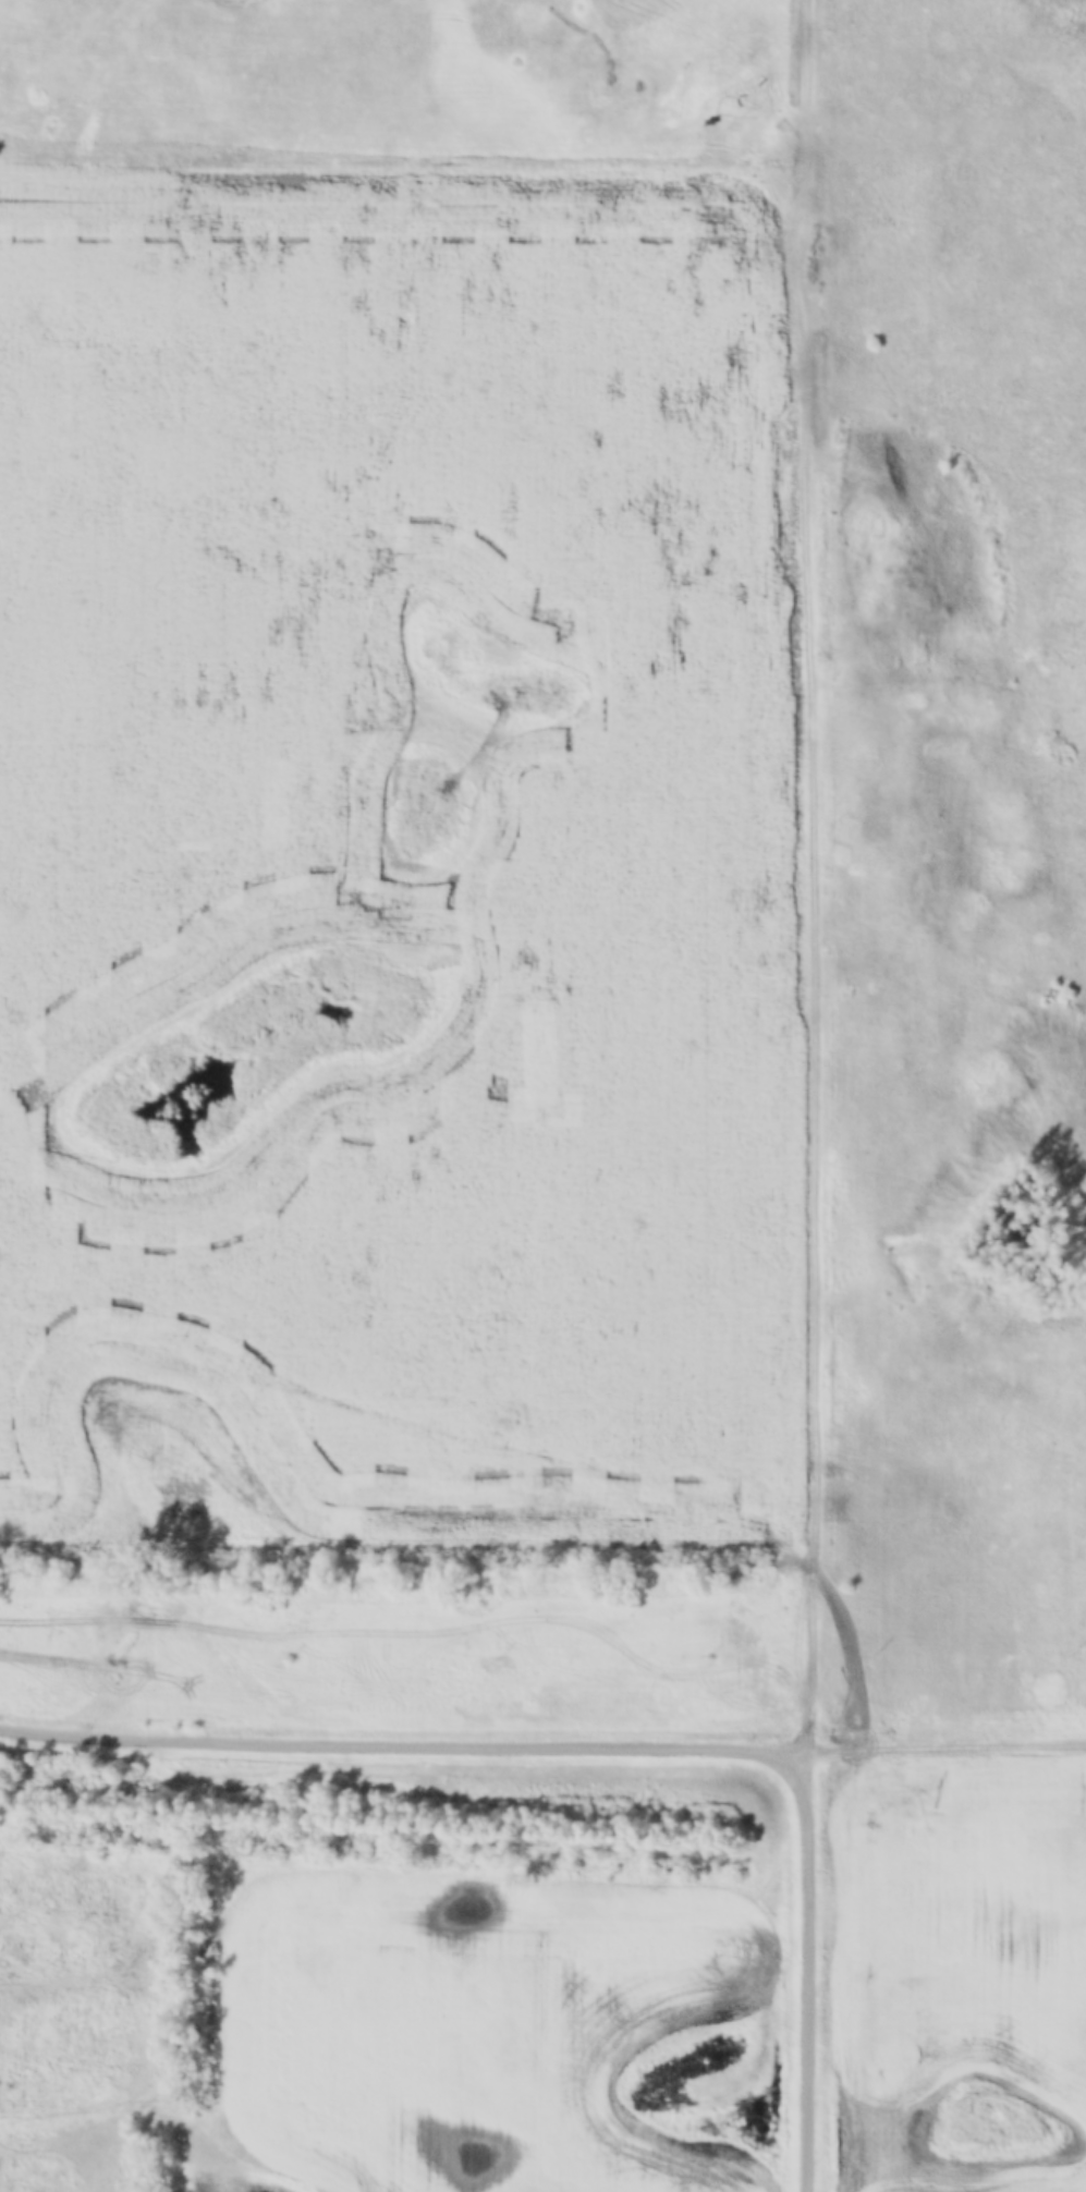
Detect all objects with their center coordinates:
road: (829, 886)
road: (389, 1744)
road: (937, 1744)
road: (813, 1969)

